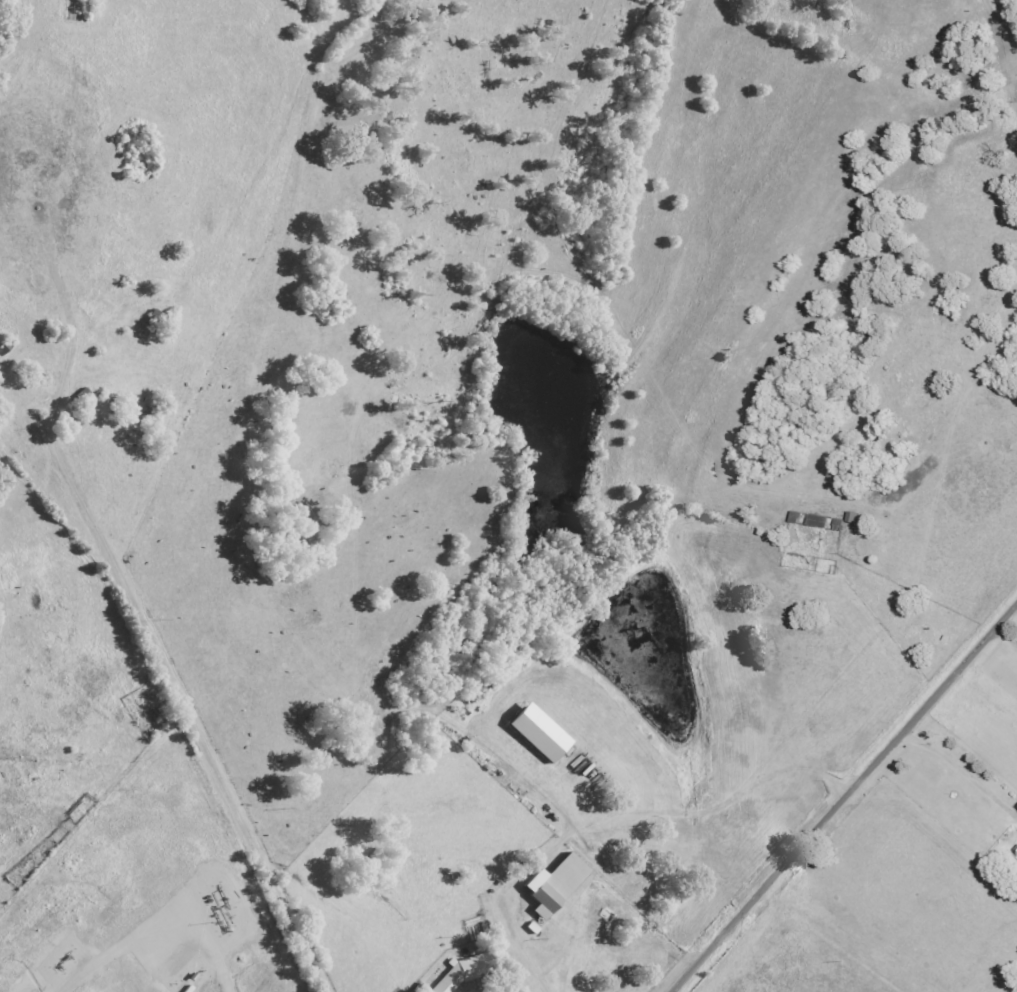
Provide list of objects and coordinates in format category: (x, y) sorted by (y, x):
building: (542, 733)
road: (960, 775)
road: (844, 800)
building: (1004, 848)
building: (557, 885)
building: (534, 928)
road: (518, 948)

